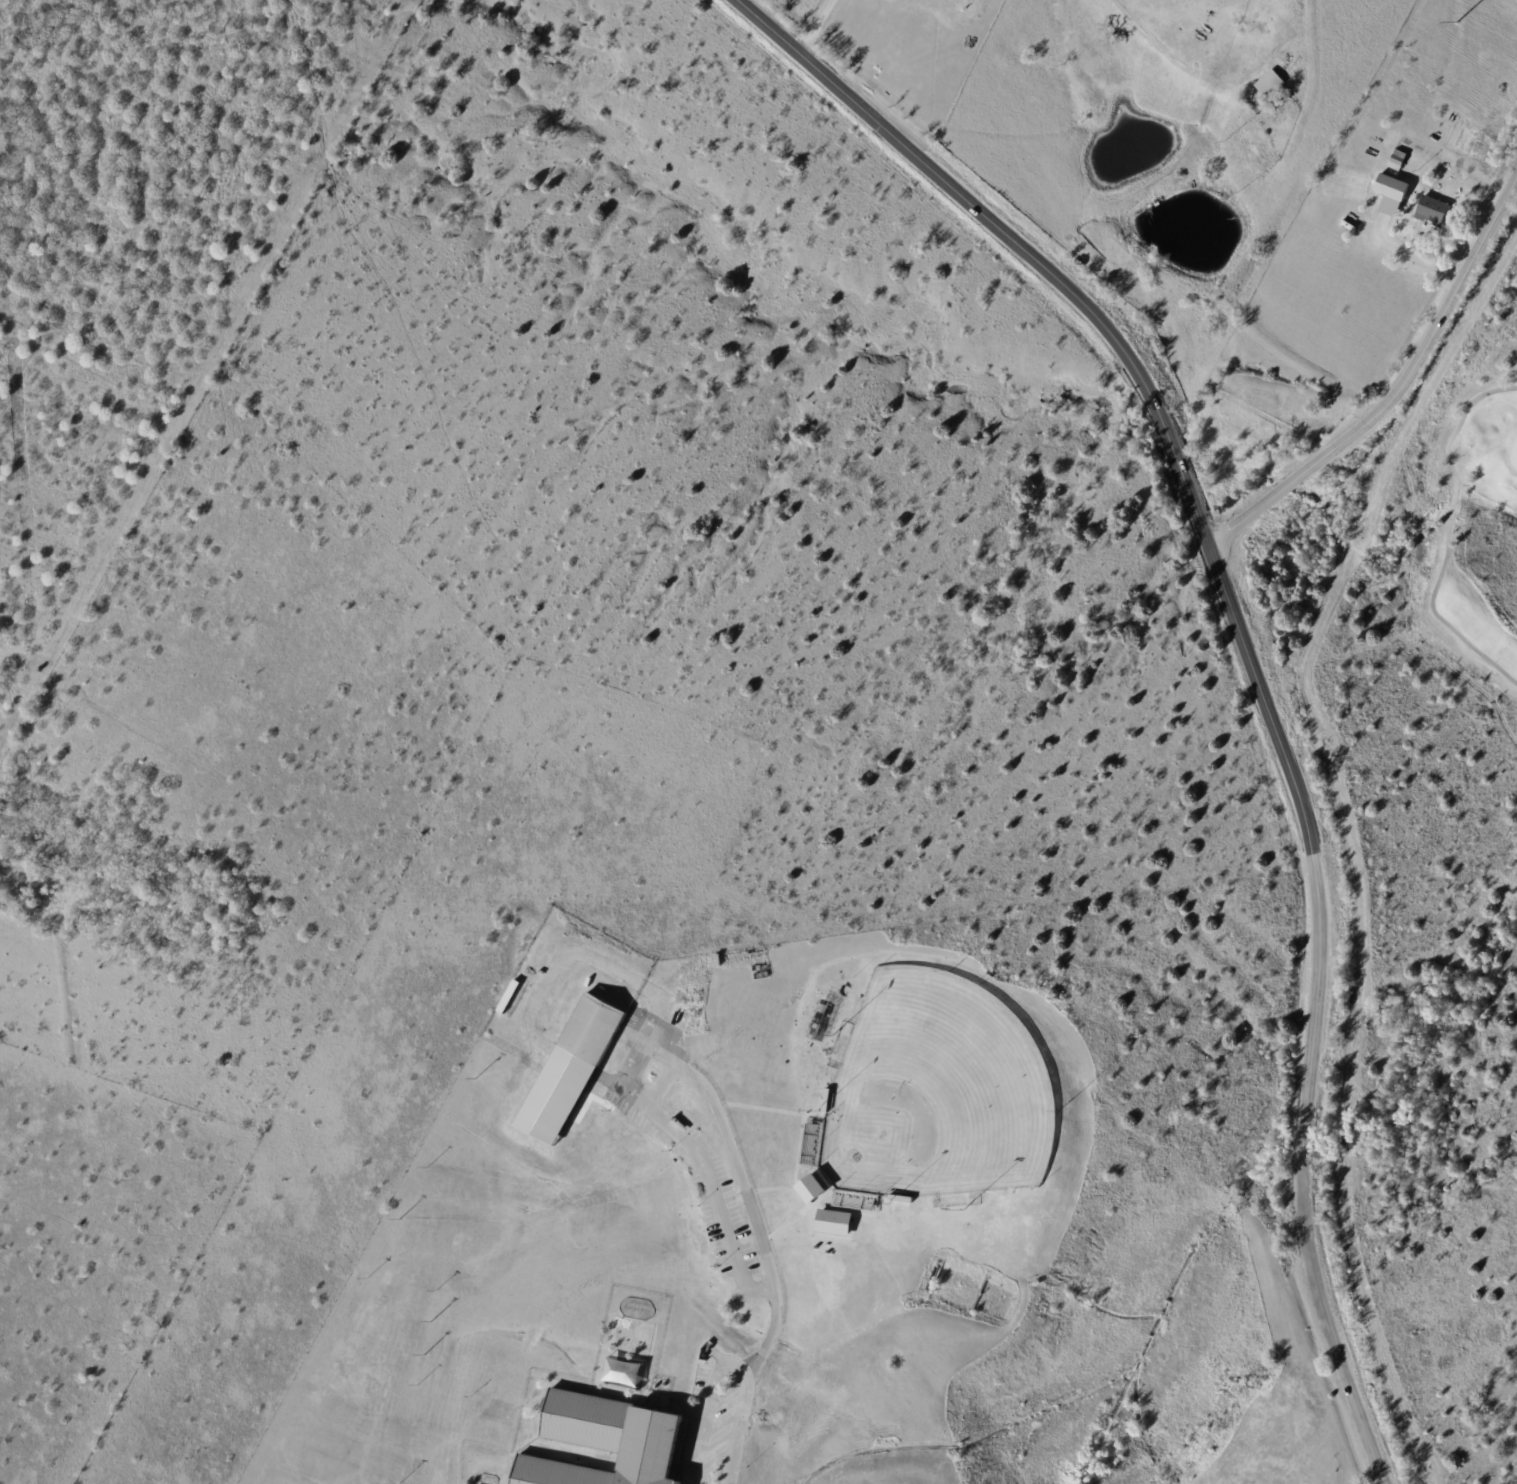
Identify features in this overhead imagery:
power tower: (1457, 24)
road: (819, 28)
building: (1272, 82)
building: (1436, 138)
building: (1399, 160)
building: (1394, 195)
building: (1435, 209)
road: (1396, 395)
park: (1449, 526)
road: (1447, 533)
road: (1248, 656)
building: (577, 1074)
park: (933, 1093)
building: (828, 1100)
road: (703, 1180)
road: (742, 1187)
building: (815, 1189)
building: (854, 1199)
building: (903, 1199)
building: (836, 1223)
road: (732, 1364)
parking lot: (724, 1429)
building: (616, 1442)

